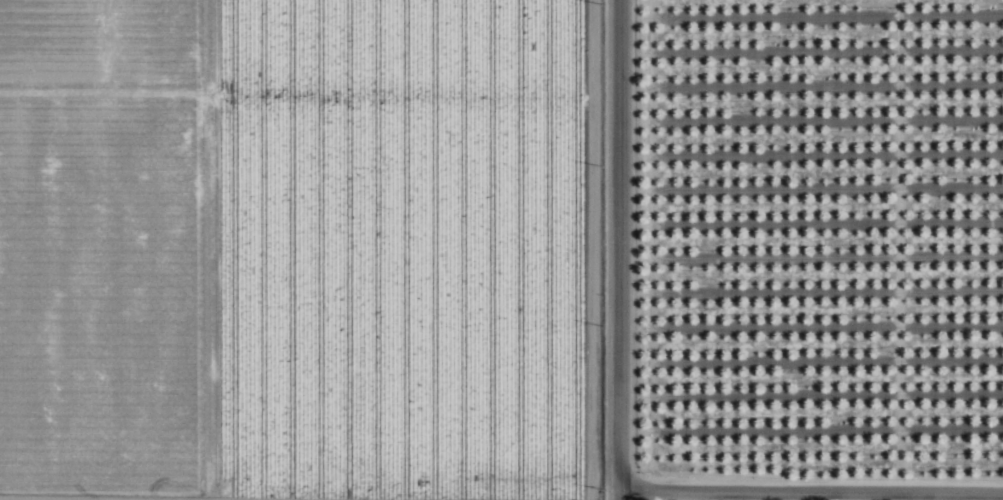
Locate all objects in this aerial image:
road: (592, 45)
road: (296, 89)
crop: (303, 249)
road: (620, 249)
road: (811, 491)
road: (101, 499)

